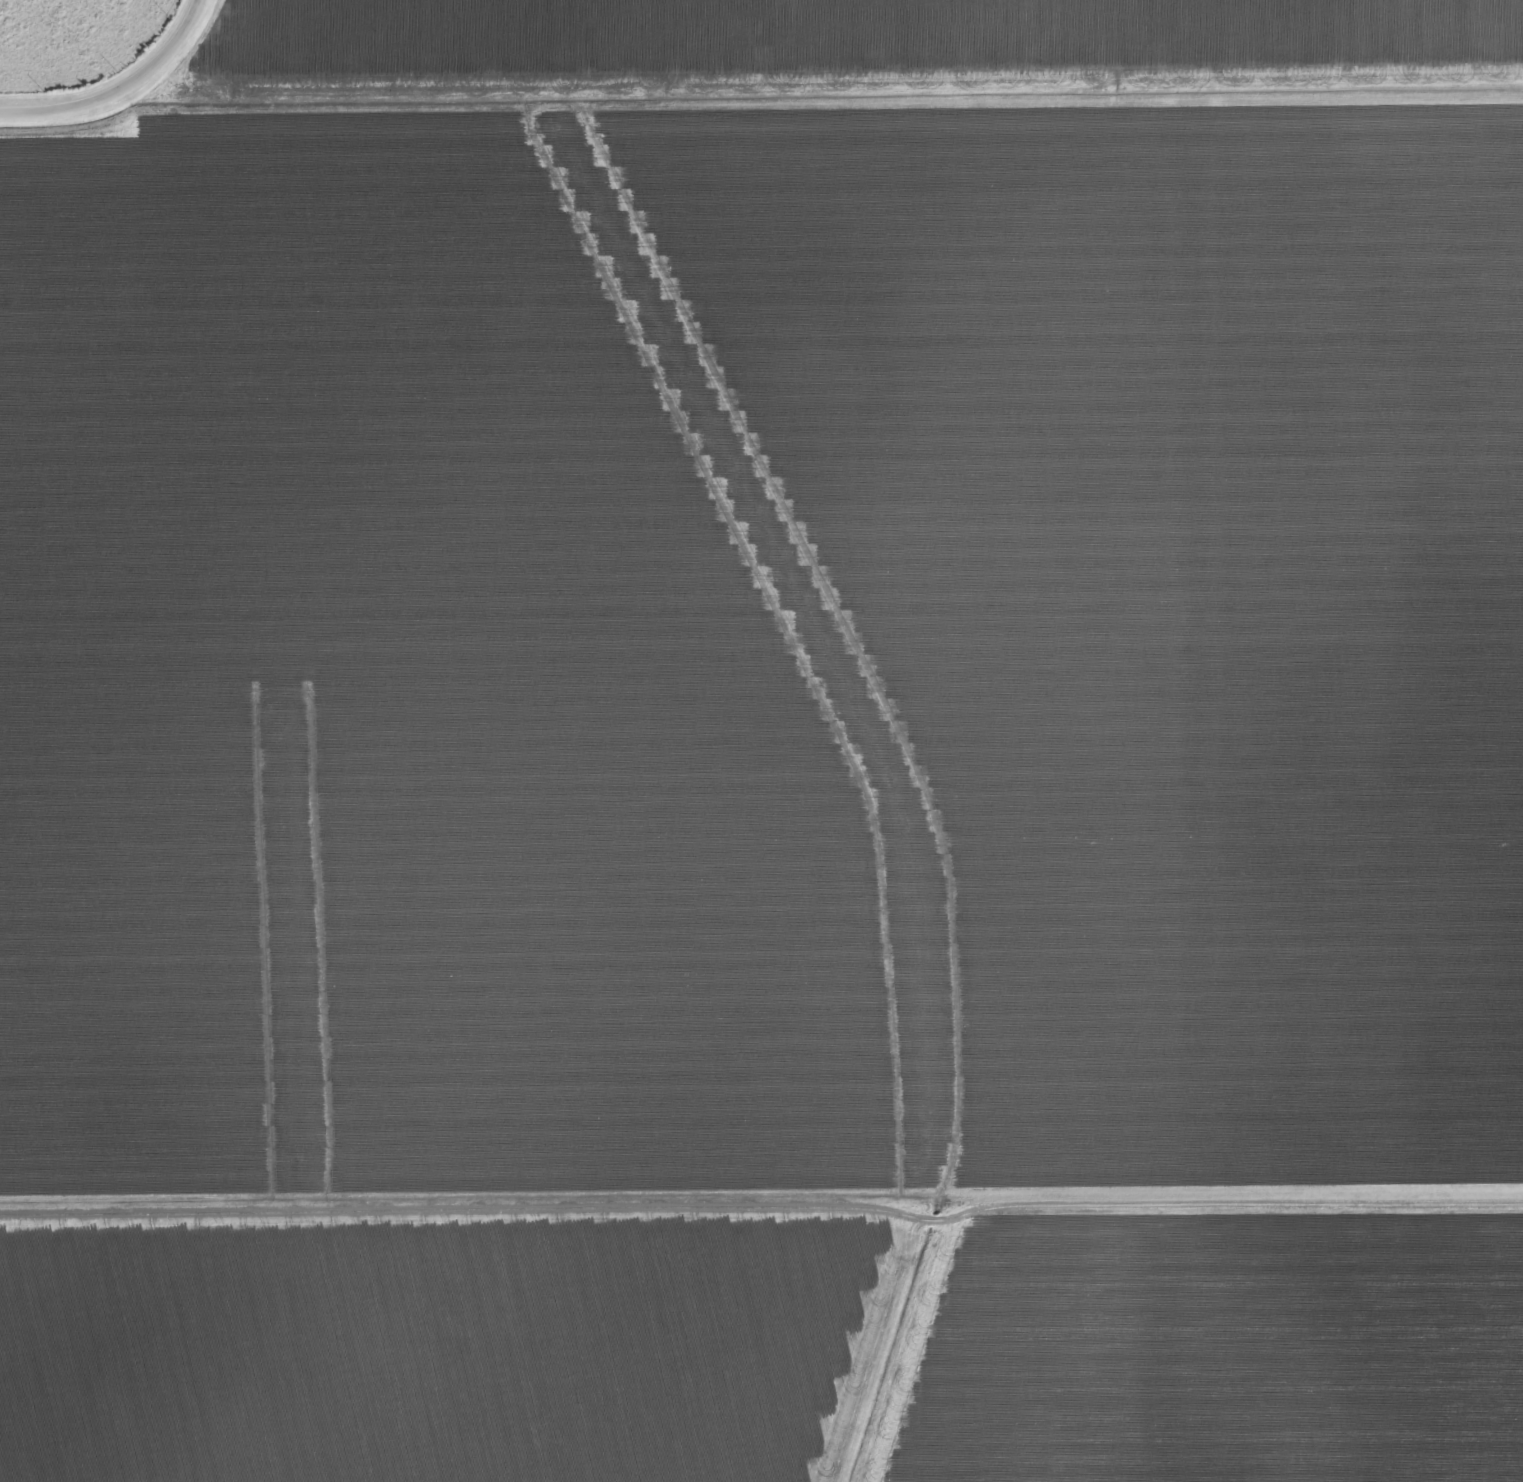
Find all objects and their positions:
road: (128, 106)

